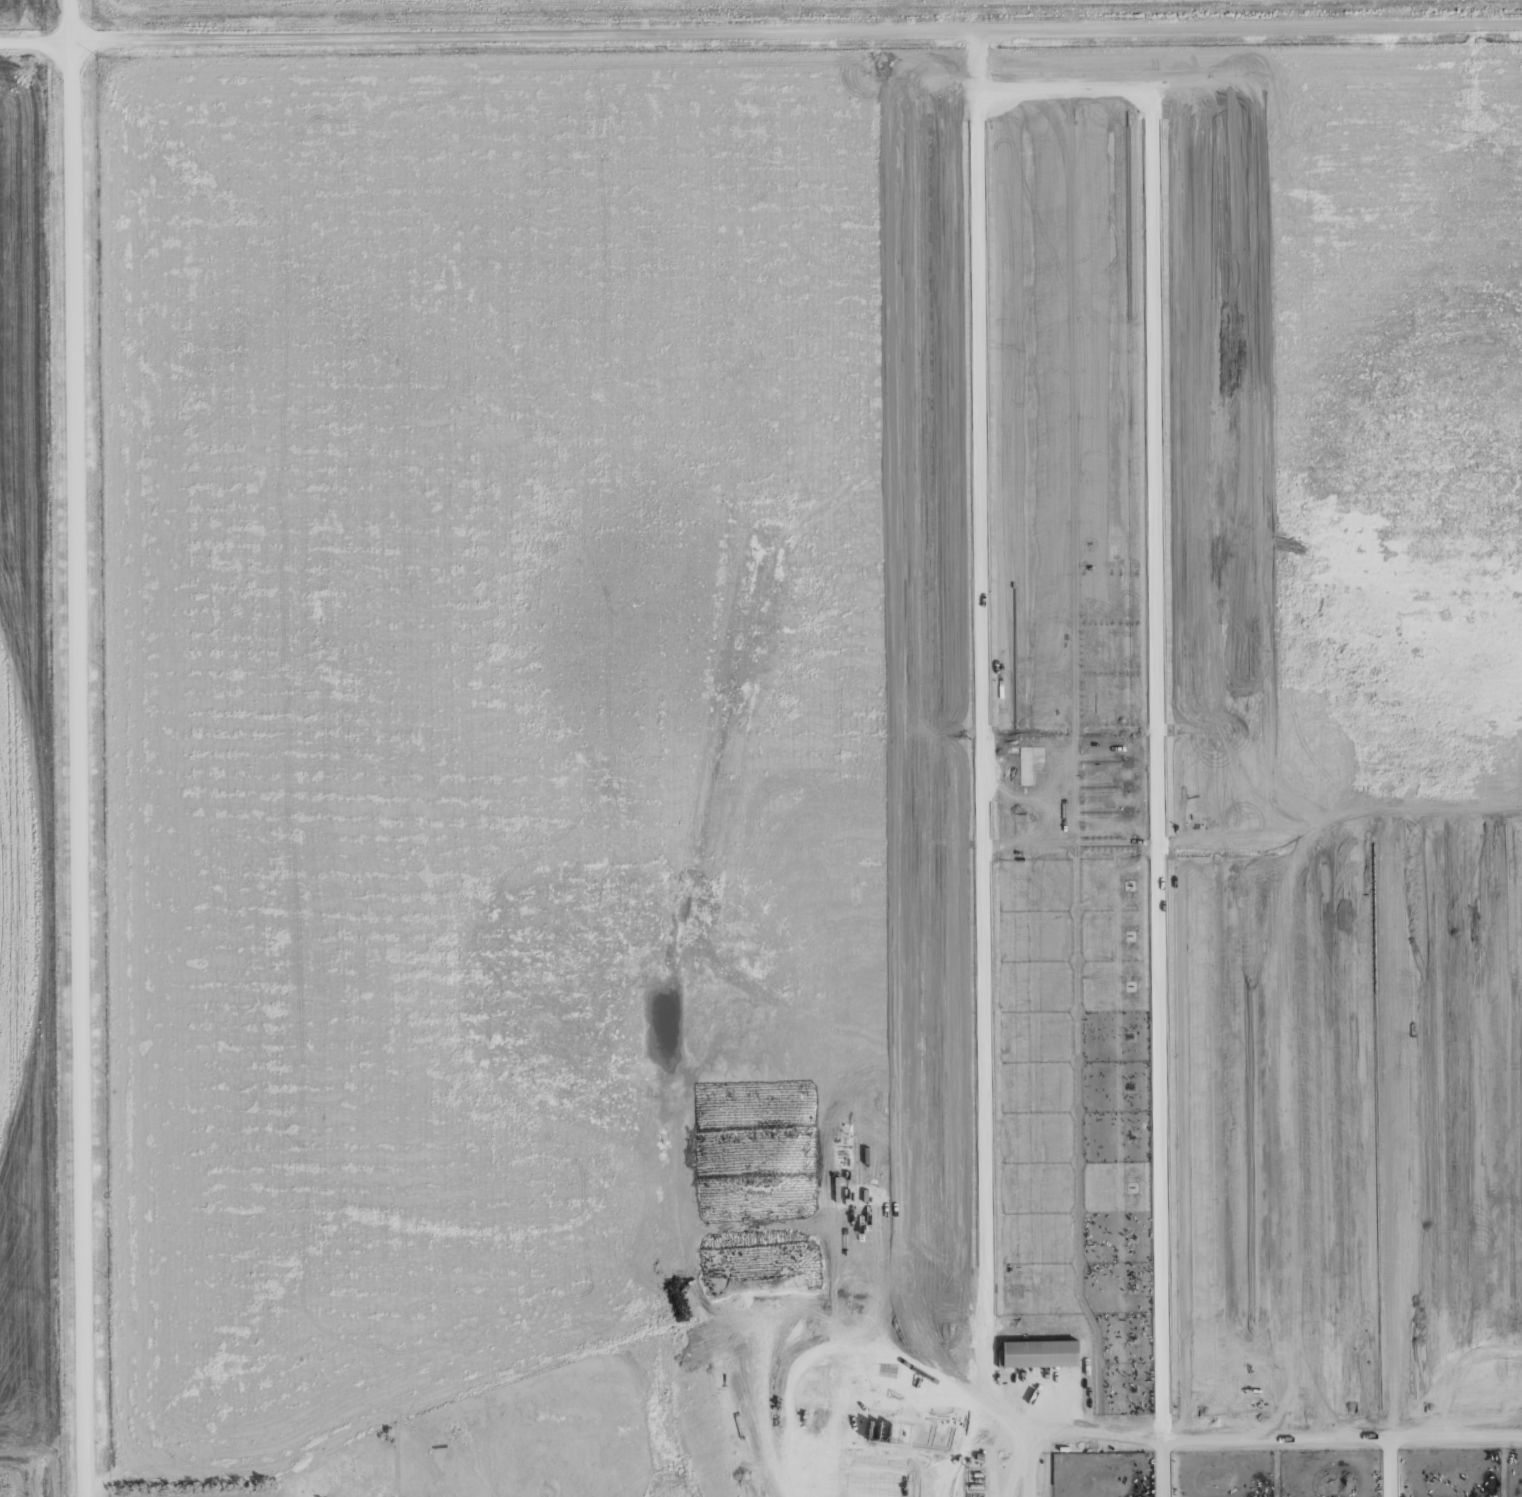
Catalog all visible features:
road: (760, 34)
road: (76, 748)
building: (1040, 1354)
crop: (1106, 1401)
road: (1335, 1431)
road: (1059, 1432)
road: (1359, 1464)
road: (1150, 1466)

